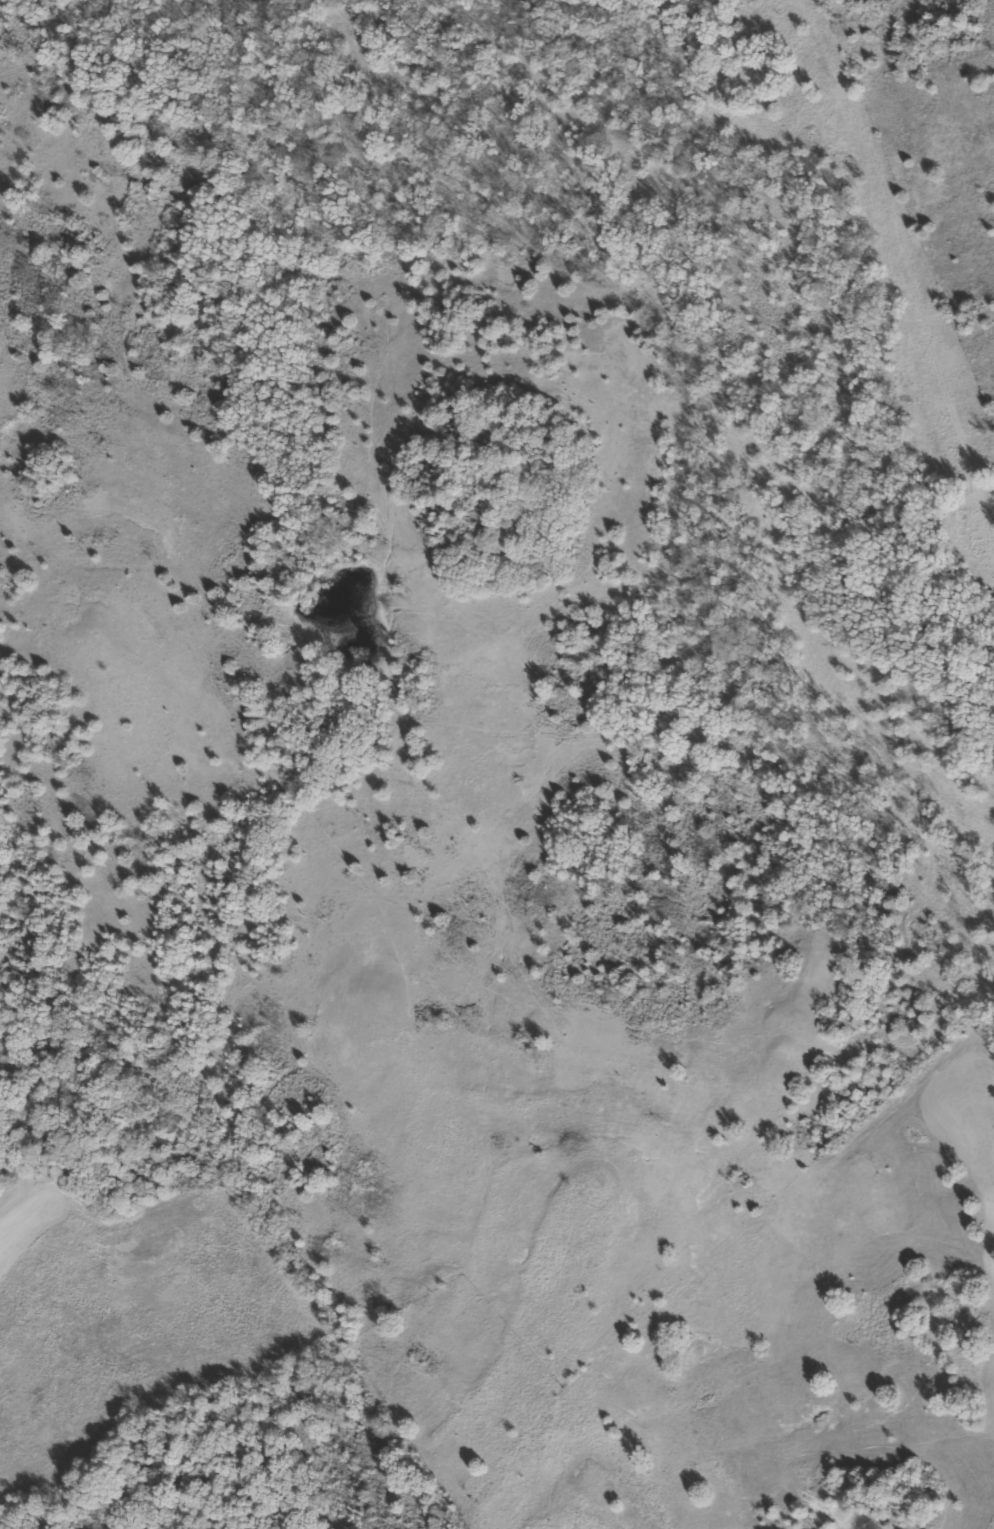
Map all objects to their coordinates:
building: (531, 1447)

